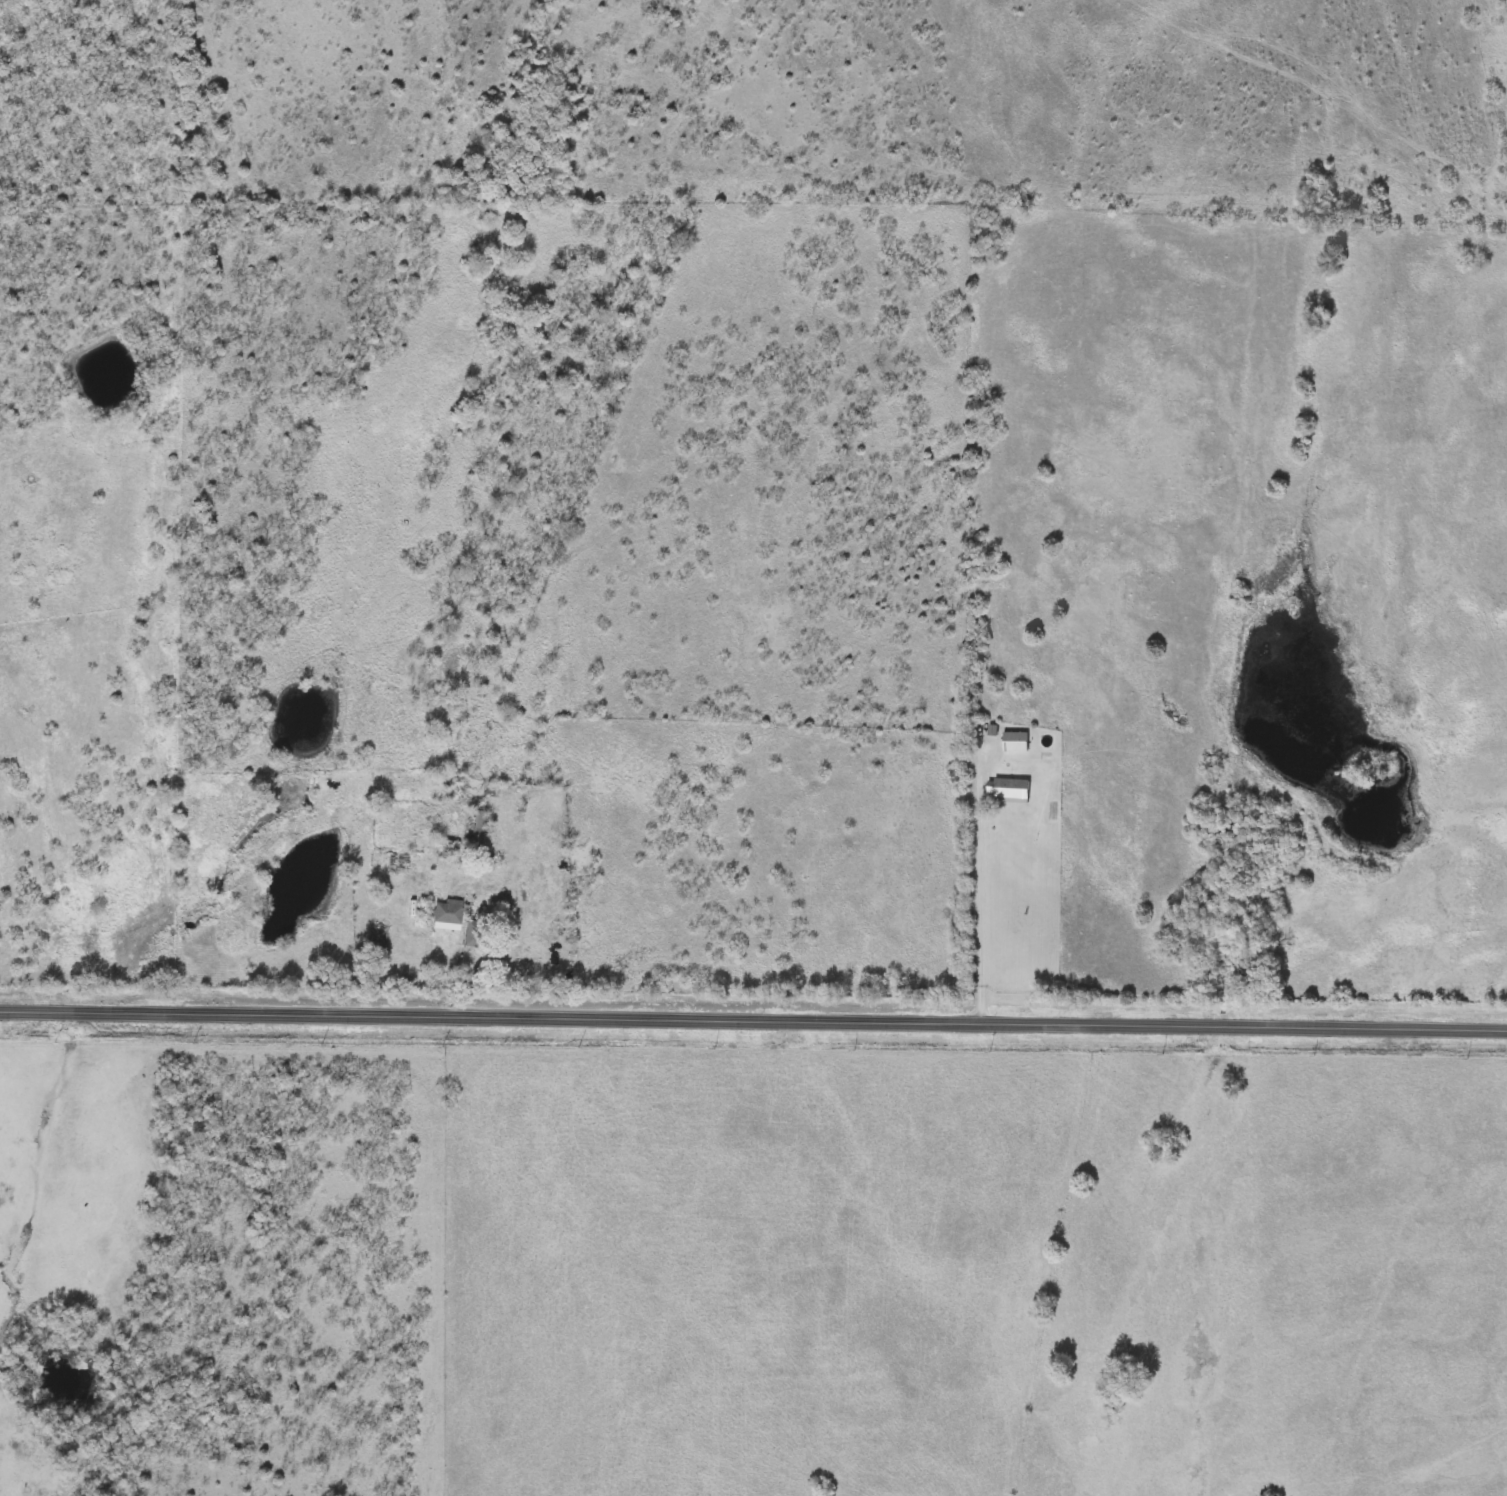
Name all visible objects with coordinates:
building: (1016, 741)
building: (449, 775)
building: (1011, 789)
building: (475, 830)
road: (985, 886)
building: (446, 912)
building: (471, 933)
road: (362, 963)
road: (470, 989)
road: (753, 1016)

